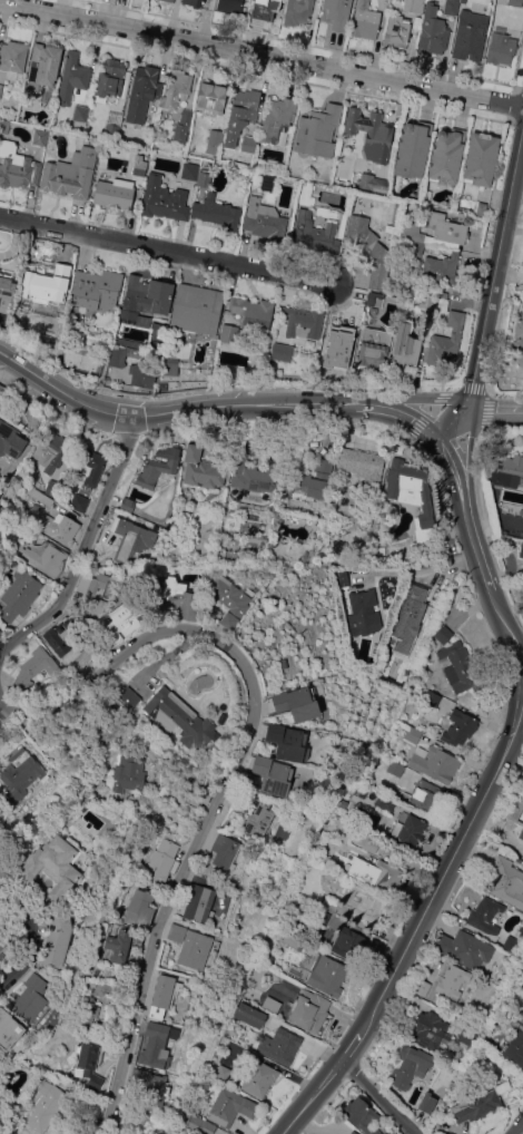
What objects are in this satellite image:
building: (169, 0)
building: (462, 1)
building: (193, 2)
building: (514, 2)
building: (229, 6)
building: (413, 6)
building: (451, 7)
building: (264, 9)
building: (297, 11)
building: (330, 16)
building: (364, 20)
building: (396, 31)
building: (432, 31)
building: (470, 36)
building: (500, 47)
road: (261, 53)
building: (12, 58)
building: (42, 66)
building: (71, 78)
building: (109, 79)
building: (0, 87)
building: (178, 88)
building: (142, 91)
building: (210, 98)
building: (80, 113)
building: (240, 114)
building: (277, 117)
building: (3, 126)
building: (182, 126)
building: (111, 128)
building: (317, 130)
building: (371, 134)
building: (40, 137)
building: (214, 141)
building: (248, 144)
building: (179, 149)
building: (413, 149)
building: (446, 156)
building: (480, 158)
building: (204, 163)
building: (17, 166)
building: (139, 167)
building: (329, 167)
building: (189, 170)
building: (70, 174)
building: (204, 177)
building: (268, 183)
building: (373, 183)
building: (117, 194)
building: (164, 199)
building: (481, 207)
building: (216, 212)
building: (292, 212)
building: (264, 219)
building: (435, 231)
building: (315, 234)
road: (504, 237)
building: (417, 247)
building: (368, 250)
road: (167, 251)
building: (442, 267)
building: (45, 283)
building: (97, 289)
building: (6, 291)
building: (145, 297)
building: (368, 297)
building: (426, 301)
building: (196, 309)
building: (373, 310)
building: (254, 314)
building: (303, 322)
building: (228, 333)
building: (519, 336)
building: (446, 339)
building: (373, 345)
building: (404, 346)
building: (337, 348)
building: (282, 352)
building: (121, 355)
building: (522, 364)
building: (169, 368)
building: (141, 374)
road: (478, 378)
road: (42, 381)
building: (1, 391)
road: (420, 397)
road: (461, 403)
road: (261, 404)
road: (110, 411)
road: (497, 414)
road: (411, 417)
road: (452, 422)
building: (10, 440)
building: (51, 450)
road: (468, 457)
building: (362, 465)
building: (88, 466)
road: (450, 466)
building: (158, 467)
building: (201, 468)
building: (506, 470)
building: (254, 475)
road: (111, 477)
building: (306, 482)
building: (52, 487)
building: (412, 495)
building: (41, 498)
building: (65, 498)
building: (78, 502)
building: (23, 505)
building: (127, 505)
building: (58, 527)
road: (473, 527)
building: (131, 539)
building: (521, 549)
building: (45, 558)
road: (421, 567)
building: (522, 568)
road: (484, 570)
building: (341, 577)
building: (91, 592)
building: (18, 594)
building: (176, 597)
building: (228, 602)
road: (56, 603)
building: (362, 613)
building: (122, 620)
road: (503, 620)
building: (405, 622)
building: (0, 630)
building: (443, 634)
building: (63, 637)
road: (520, 641)
building: (69, 662)
building: (283, 666)
building: (460, 667)
building: (31, 668)
building: (42, 674)
building: (130, 695)
building: (432, 698)
road: (4, 702)
building: (299, 702)
road: (4, 713)
building: (179, 717)
building: (458, 729)
building: (412, 734)
road: (517, 739)
building: (287, 742)
building: (434, 763)
building: (395, 769)
road: (233, 770)
building: (128, 772)
building: (273, 774)
building: (19, 775)
building: (198, 794)
building: (426, 798)
building: (343, 803)
building: (384, 803)
building: (515, 806)
building: (320, 818)
building: (258, 820)
building: (334, 823)
building: (282, 831)
building: (407, 832)
building: (521, 833)
building: (363, 839)
building: (224, 851)
building: (522, 857)
building: (160, 863)
building: (52, 864)
building: (3, 871)
building: (376, 873)
road: (444, 877)
building: (506, 881)
building: (198, 903)
building: (366, 903)
building: (329, 905)
building: (139, 908)
building: (484, 915)
building: (323, 916)
building: (177, 931)
building: (521, 931)
building: (59, 935)
road: (36, 937)
building: (293, 940)
building: (347, 942)
building: (511, 944)
building: (117, 946)
building: (3, 947)
building: (463, 948)
building: (197, 950)
building: (258, 969)
building: (326, 975)
building: (453, 981)
building: (88, 984)
building: (422, 986)
building: (164, 994)
building: (31, 998)
building: (308, 1010)
building: (249, 1014)
building: (87, 1016)
building: (9, 1029)
building: (431, 1030)
building: (467, 1034)
building: (155, 1045)
building: (279, 1045)
road: (355, 1047)
building: (514, 1048)
building: (88, 1063)
building: (409, 1066)
building: (224, 1074)
building: (258, 1077)
building: (149, 1086)
road: (317, 1098)
road: (382, 1098)
building: (426, 1102)
building: (477, 1104)
building: (45, 1106)
building: (229, 1106)
building: (362, 1116)
building: (197, 1125)
road: (517, 1126)
building: (90, 1128)
building: (349, 1132)
building: (353, 1132)
building: (216, 1133)

